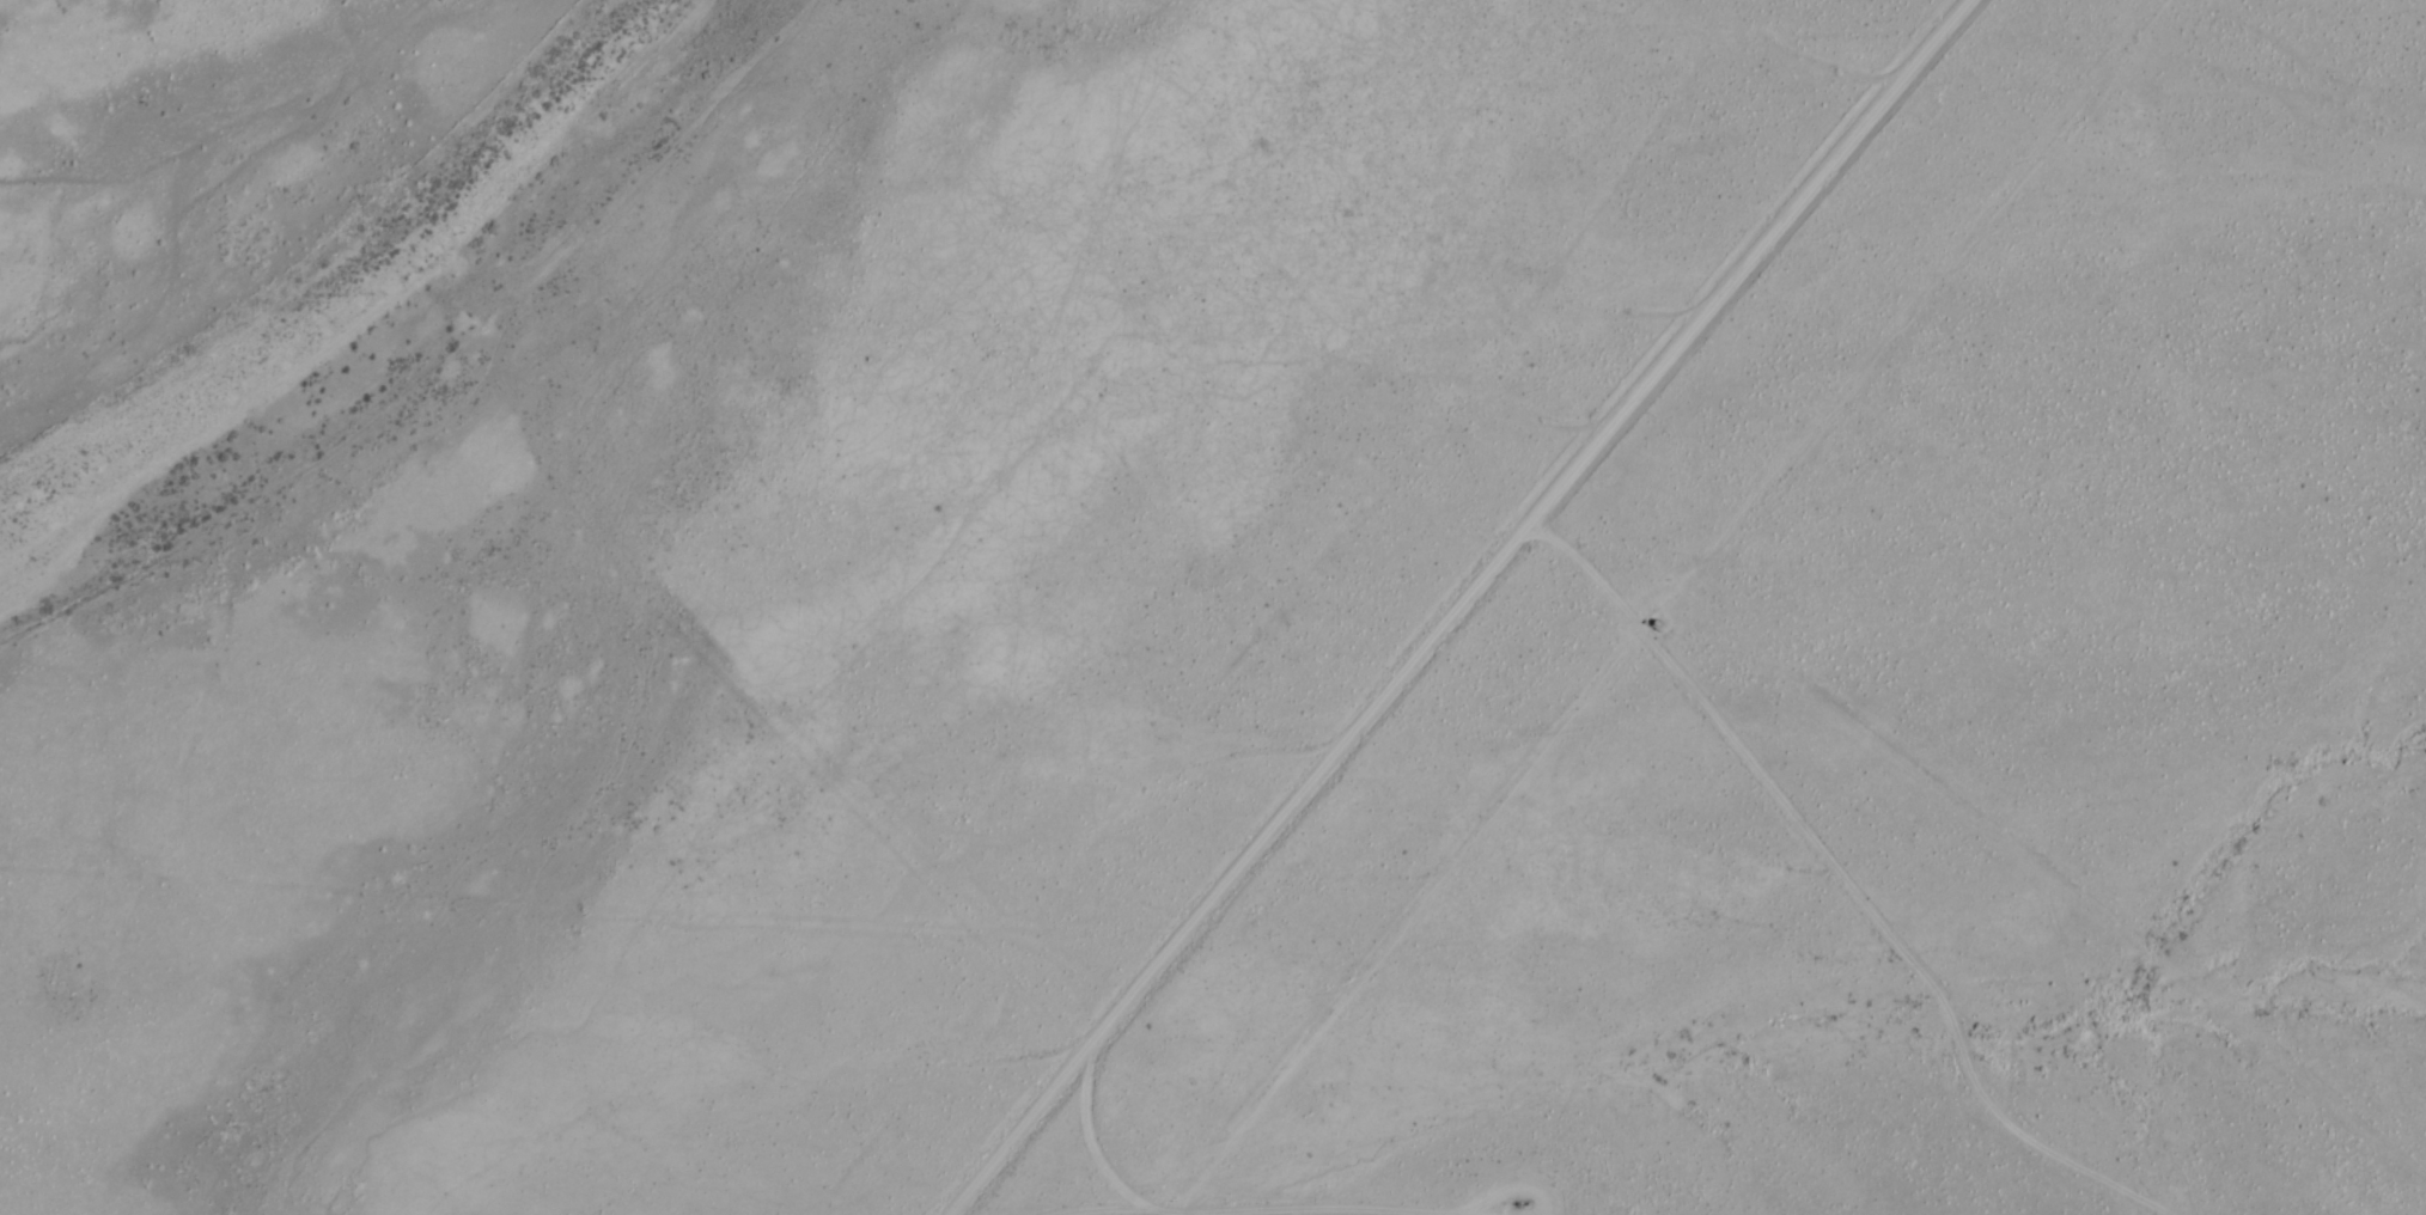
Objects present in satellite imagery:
road: (1455, 606)
road: (1854, 881)
road: (1091, 1135)
road: (1524, 1173)
road: (1254, 1203)
road: (1482, 1213)

